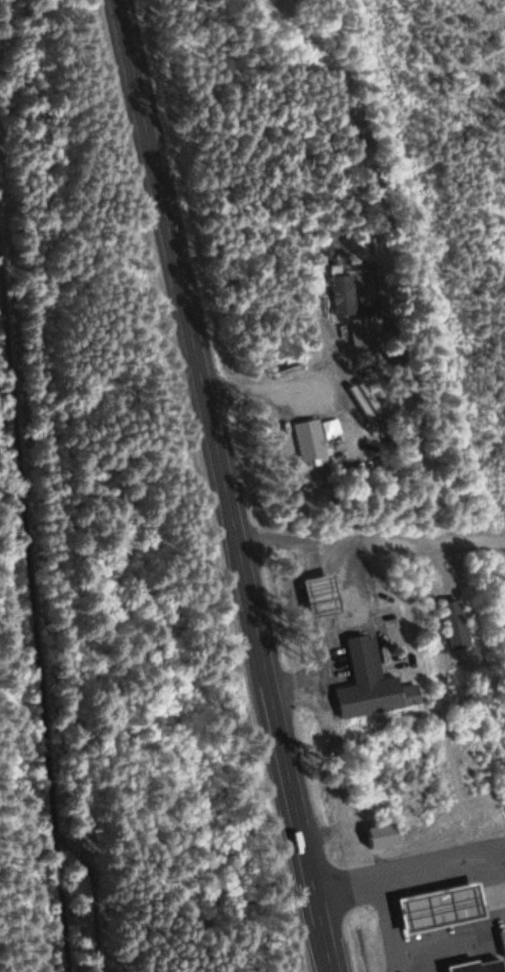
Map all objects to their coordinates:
building: (310, 438)
road: (229, 486)
road: (373, 542)
building: (324, 596)
building: (457, 626)
railway: (33, 630)
building: (374, 684)
building: (387, 837)
road: (392, 890)
building: (443, 907)
building: (472, 965)
gas station: (472, 965)

